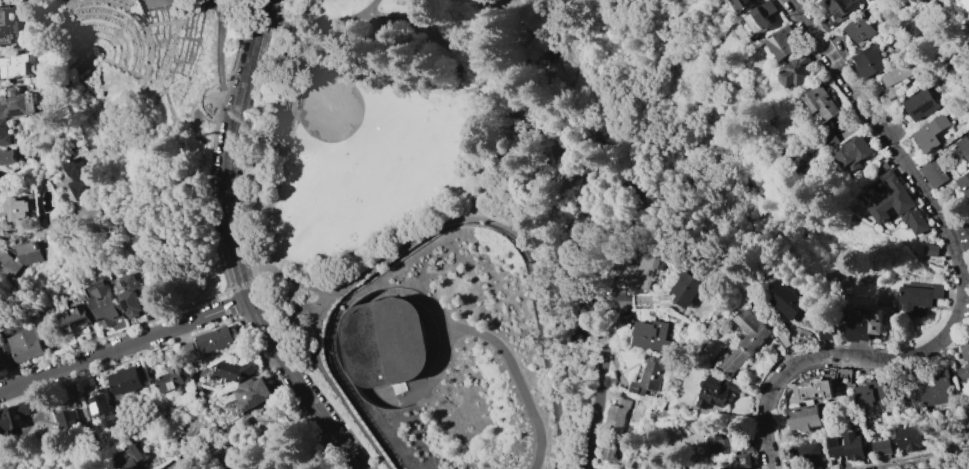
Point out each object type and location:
road: (108, 0)
building: (957, 0)
park: (154, 4)
building: (742, 4)
building: (965, 4)
road: (209, 5)
road: (261, 5)
building: (841, 8)
building: (761, 15)
road: (397, 16)
road: (331, 17)
road: (132, 20)
building: (4, 25)
road: (127, 25)
road: (413, 26)
road: (523, 26)
building: (860, 26)
building: (911, 27)
road: (164, 30)
road: (155, 31)
road: (121, 32)
road: (191, 33)
road: (115, 36)
road: (159, 37)
road: (174, 37)
road: (195, 37)
road: (110, 41)
road: (169, 41)
road: (560, 42)
building: (781, 42)
road: (183, 43)
road: (585, 43)
road: (155, 45)
road: (175, 47)
road: (199, 48)
road: (221, 53)
road: (105, 54)
road: (161, 55)
road: (308, 56)
road: (81, 59)
road: (678, 61)
building: (869, 61)
building: (14, 66)
road: (165, 69)
road: (633, 69)
building: (796, 71)
road: (79, 74)
road: (166, 76)
road: (176, 77)
road: (83, 78)
building: (893, 80)
road: (847, 82)
road: (581, 94)
road: (609, 95)
road: (510, 98)
road: (206, 101)
building: (821, 101)
building: (16, 103)
building: (919, 104)
rooftop solar panel: (923, 110)
road: (178, 112)
road: (114, 117)
road: (580, 117)
road: (152, 120)
park: (152, 121)
road: (575, 123)
road: (653, 127)
road: (516, 130)
road: (568, 130)
building: (968, 131)
building: (3, 132)
building: (931, 132)
park: (498, 140)
road: (214, 143)
building: (964, 146)
building: (859, 147)
road: (139, 151)
building: (6, 156)
road: (654, 157)
park: (361, 161)
road: (182, 163)
road: (154, 168)
building: (934, 173)
building: (80, 178)
road: (182, 178)
road: (602, 178)
road: (686, 179)
building: (964, 183)
road: (147, 187)
road: (751, 191)
road: (159, 195)
road: (563, 195)
building: (899, 204)
building: (16, 208)
road: (641, 213)
road: (46, 225)
road: (944, 226)
road: (521, 229)
road: (190, 230)
building: (963, 236)
road: (235, 250)
building: (931, 250)
road: (248, 251)
building: (20, 256)
building: (638, 268)
road: (287, 276)
road: (243, 286)
road: (349, 287)
building: (686, 289)
building: (133, 295)
building: (917, 297)
building: (787, 299)
building: (108, 306)
building: (78, 319)
building: (587, 321)
rooftop solar panel: (86, 330)
building: (864, 330)
road: (204, 331)
building: (828, 331)
road: (115, 333)
rooftop solar panel: (72, 335)
building: (653, 336)
building: (215, 339)
building: (746, 340)
road: (827, 341)
building: (384, 343)
storage tank: (384, 343)
building: (28, 345)
road: (499, 345)
road: (124, 347)
road: (827, 349)
road: (911, 358)
building: (963, 364)
building: (1, 365)
building: (235, 371)
building: (651, 373)
road: (435, 375)
building: (172, 378)
building: (127, 380)
road: (759, 384)
road: (602, 387)
building: (716, 389)
building: (815, 390)
building: (933, 390)
building: (254, 393)
road: (767, 394)
building: (872, 394)
building: (105, 406)
rooftop solar panel: (263, 406)
building: (26, 407)
rooftop solar panel: (100, 408)
building: (617, 414)
building: (805, 417)
rooftop solar panel: (102, 418)
building: (68, 420)
road: (769, 420)
building: (7, 424)
rooftop solar panel: (112, 430)
building: (964, 430)
building: (909, 438)
rooftop solar panel: (832, 441)
building: (735, 444)
road: (777, 444)
building: (847, 446)
building: (881, 447)
building: (608, 450)
building: (806, 456)
building: (134, 459)
road: (933, 460)
building: (743, 462)
building: (672, 468)

